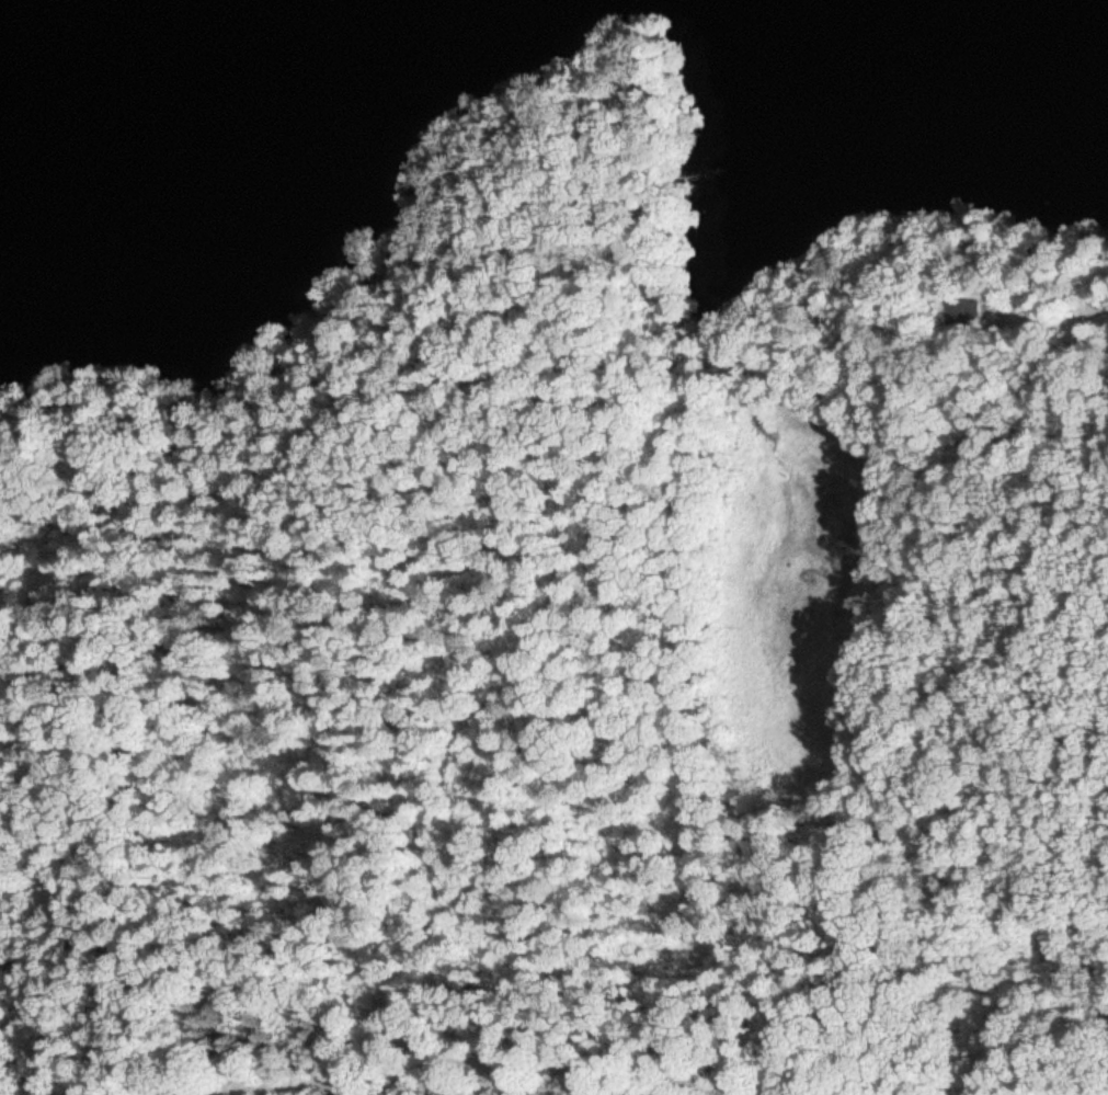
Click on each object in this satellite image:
building: (982, 312)

